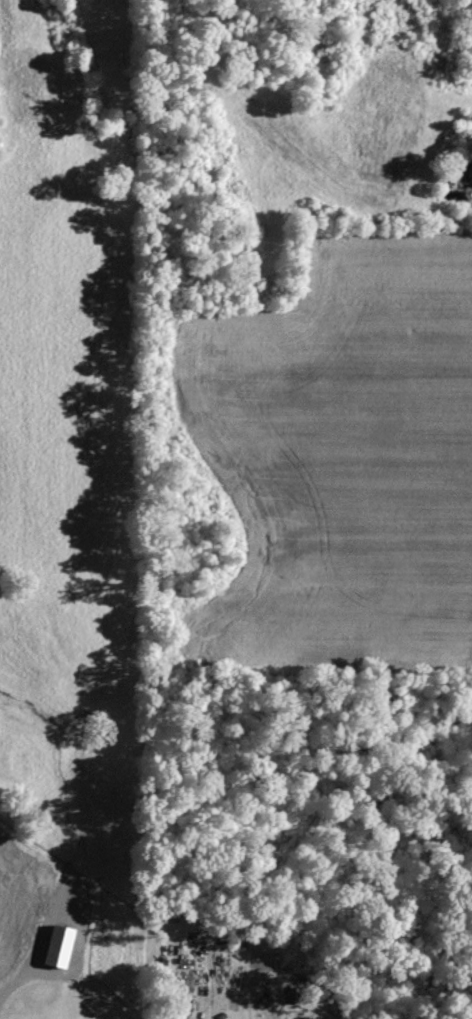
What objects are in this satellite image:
building: (62, 947)
road: (81, 950)

